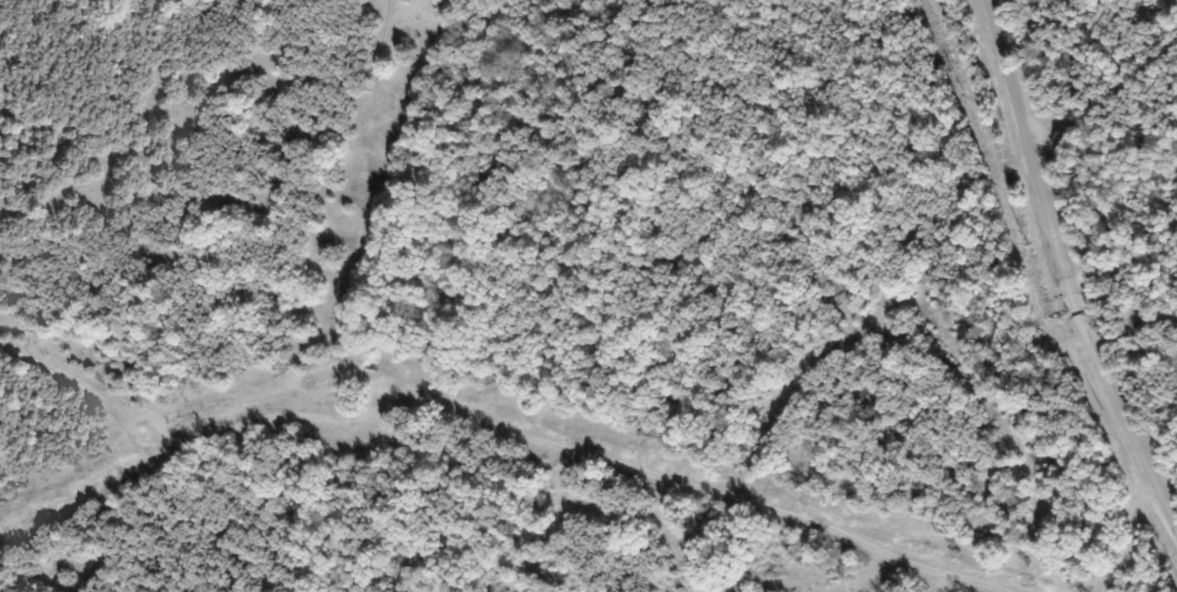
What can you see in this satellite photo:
road: (1022, 154)
park: (588, 295)
road: (1120, 426)

